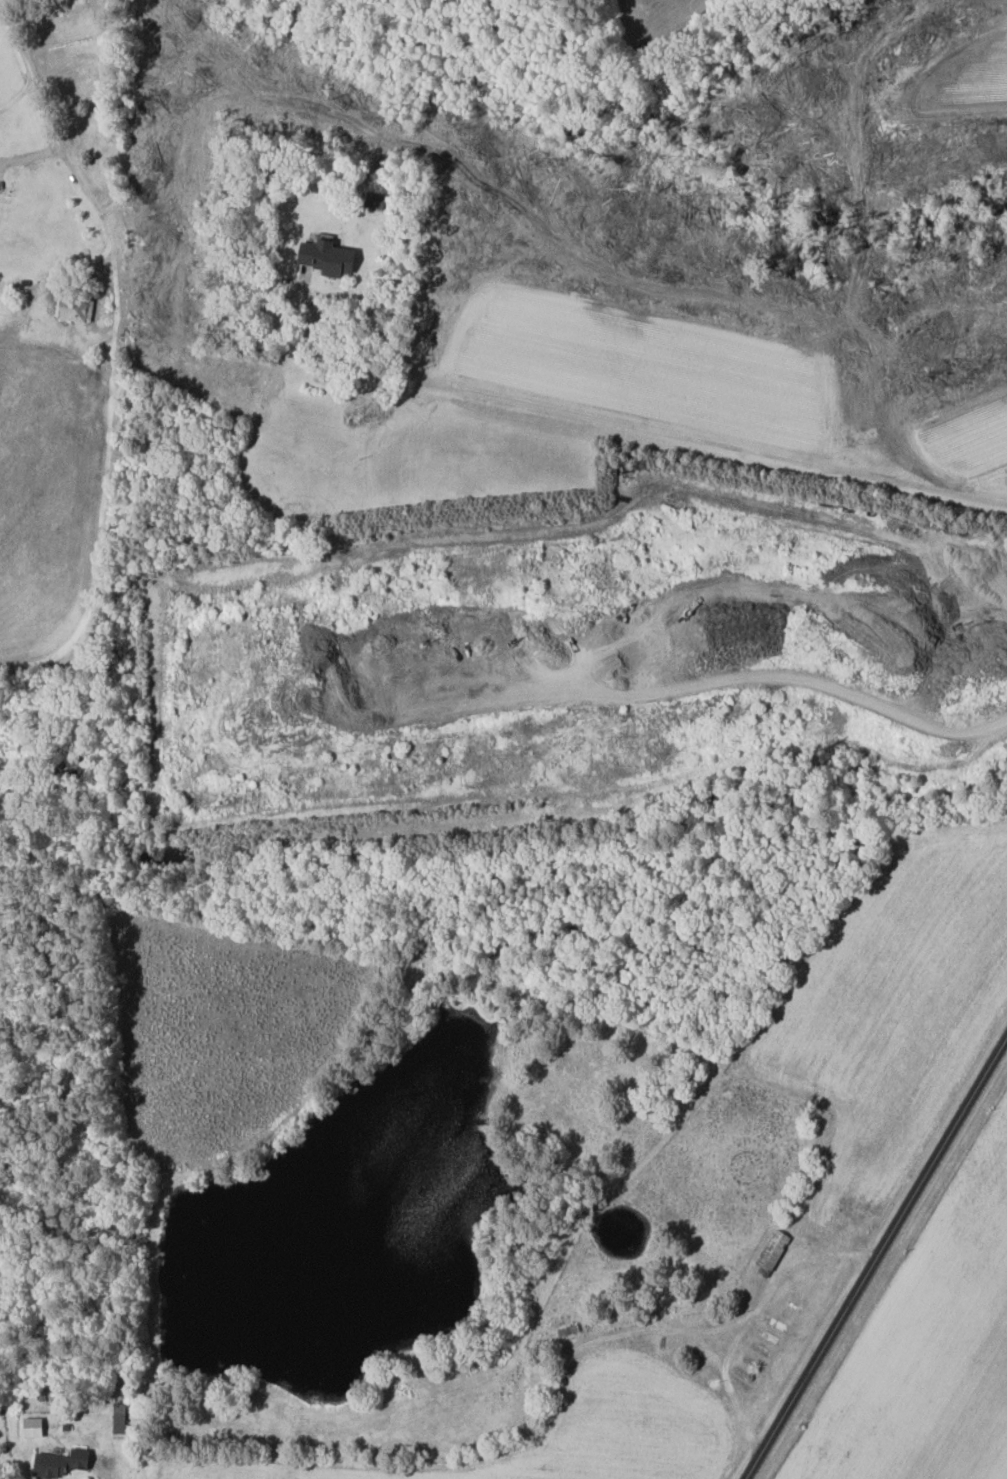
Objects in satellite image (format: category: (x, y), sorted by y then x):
road: (24, 60)
building: (374, 200)
road: (94, 201)
building: (322, 257)
building: (72, 309)
road: (318, 326)
road: (674, 437)
building: (770, 1252)
road: (876, 1259)
building: (118, 1418)
building: (29, 1428)
building: (58, 1463)
road: (111, 1474)

